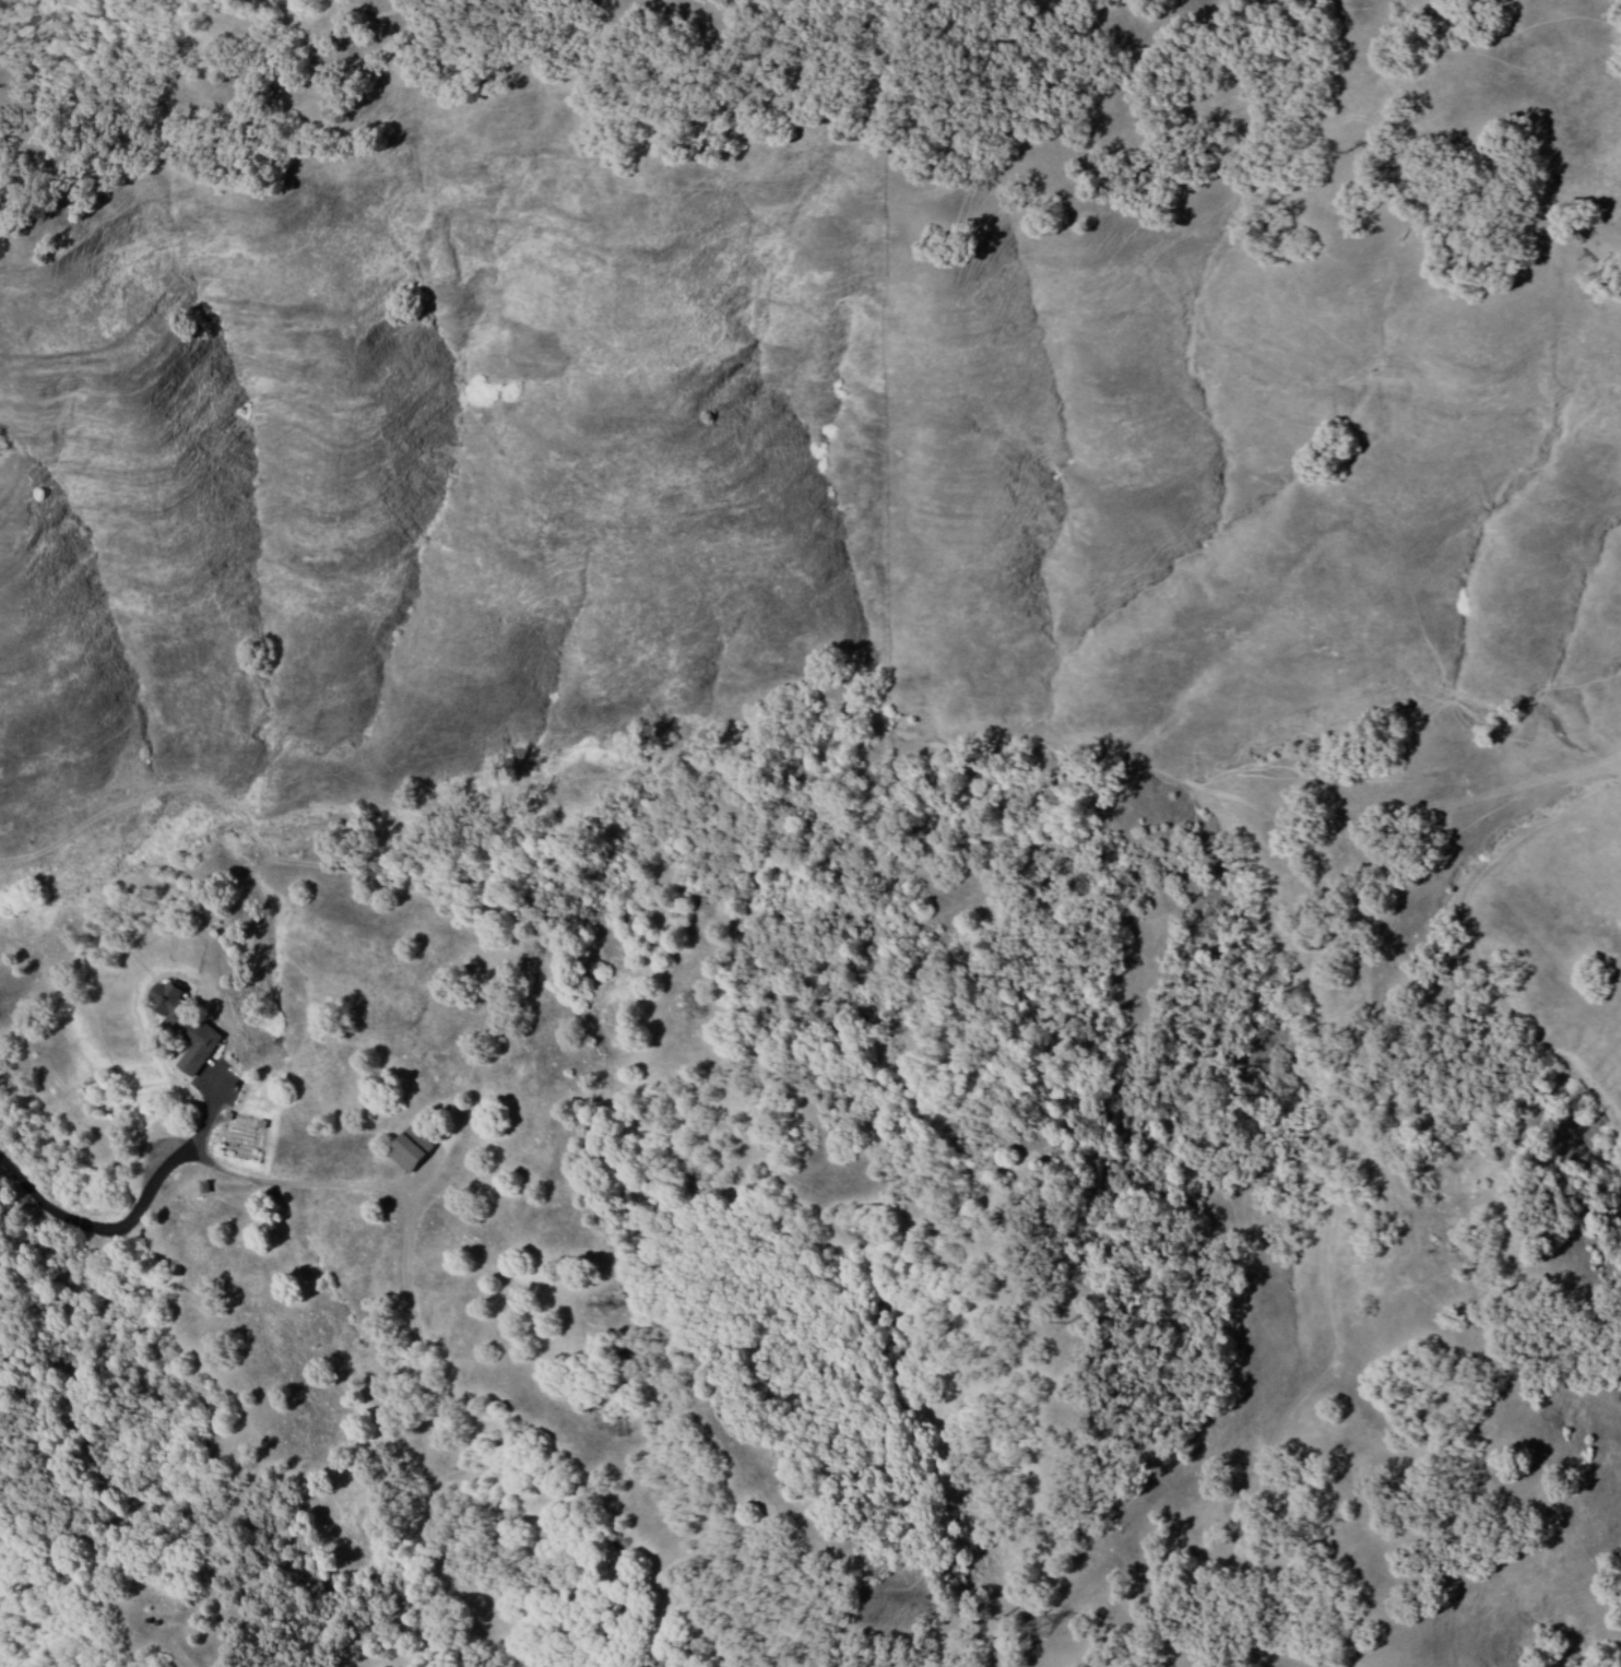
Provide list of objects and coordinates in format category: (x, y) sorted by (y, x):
road: (386, 887)
building: (194, 1030)
building: (419, 1154)
road: (134, 1211)
road: (402, 1270)

